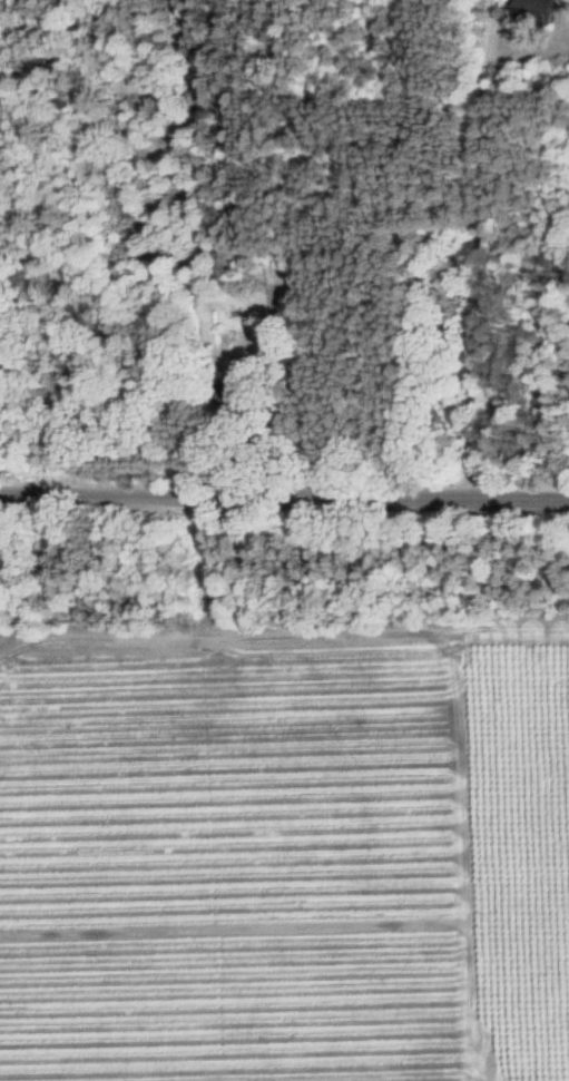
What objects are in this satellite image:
building: (533, 10)
road: (479, 253)
road: (284, 502)

